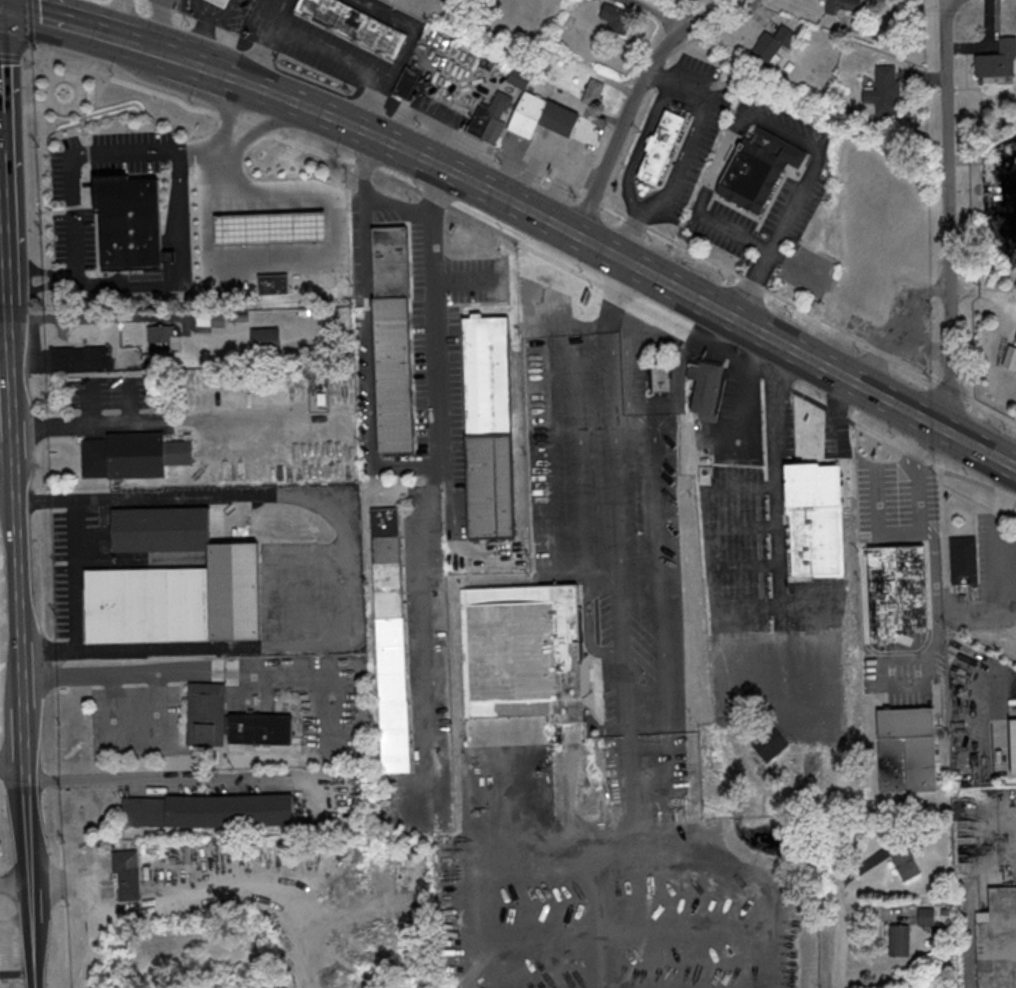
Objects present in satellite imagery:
road: (0, 1)
road: (0, 1)
traffic signals: (1, 2)
building: (225, 2)
building: (840, 6)
road: (221, 13)
road: (114, 15)
building: (618, 17)
road: (130, 18)
road: (63, 19)
road: (35, 21)
building: (357, 24)
road: (203, 36)
road: (270, 41)
building: (775, 45)
road: (39, 48)
road: (159, 48)
road: (31, 49)
road: (408, 51)
road: (14, 55)
building: (996, 61)
road: (51, 66)
road: (215, 67)
road: (85, 68)
road: (58, 78)
road: (253, 82)
building: (408, 82)
road: (155, 89)
building: (883, 89)
road: (279, 92)
building: (595, 92)
road: (637, 95)
road: (44, 103)
road: (228, 109)
building: (545, 116)
building: (492, 118)
road: (90, 121)
road: (254, 124)
road: (779, 127)
road: (645, 128)
building: (663, 147)
road: (685, 151)
building: (761, 168)
road: (388, 172)
road: (223, 177)
road: (630, 197)
road: (52, 206)
road: (5, 212)
road: (948, 213)
building: (128, 220)
building: (269, 225)
road: (225, 227)
road: (334, 229)
road: (175, 231)
road: (167, 254)
road: (79, 262)
road: (45, 269)
road: (168, 272)
road: (657, 273)
road: (551, 274)
road: (462, 278)
building: (272, 281)
road: (45, 286)
road: (775, 290)
road: (617, 328)
road: (365, 331)
building: (161, 333)
building: (395, 338)
building: (267, 339)
building: (81, 359)
building: (657, 378)
road: (741, 384)
building: (701, 388)
road: (92, 407)
road: (842, 410)
road: (89, 422)
building: (491, 426)
road: (578, 430)
road: (8, 448)
road: (439, 455)
building: (135, 456)
road: (546, 484)
road: (17, 495)
road: (878, 516)
building: (812, 520)
road: (616, 528)
road: (708, 537)
road: (932, 558)
building: (961, 560)
road: (72, 573)
building: (178, 583)
building: (894, 589)
road: (589, 633)
building: (393, 640)
building: (526, 653)
road: (203, 673)
road: (980, 707)
building: (207, 715)
road: (667, 716)
building: (262, 729)
building: (766, 744)
building: (1010, 745)
building: (903, 750)
road: (14, 763)
road: (153, 779)
building: (211, 811)
building: (899, 855)
building: (129, 876)
road: (16, 884)
building: (924, 914)
building: (896, 940)
building: (997, 940)
road: (837, 948)

